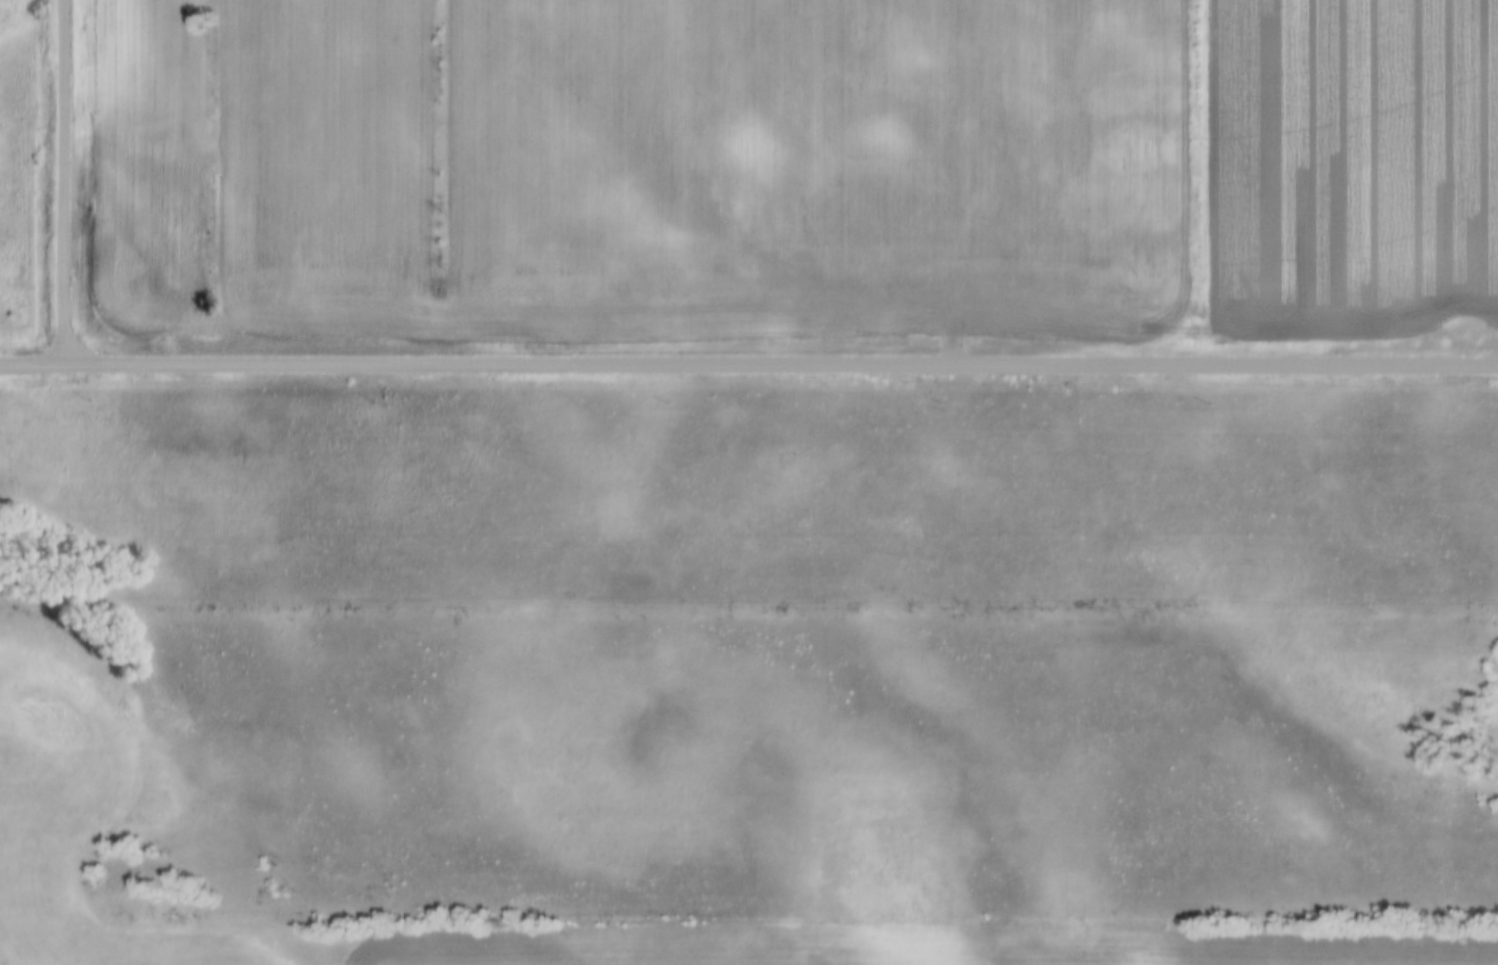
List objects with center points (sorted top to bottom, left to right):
road: (66, 181)
road: (748, 363)

